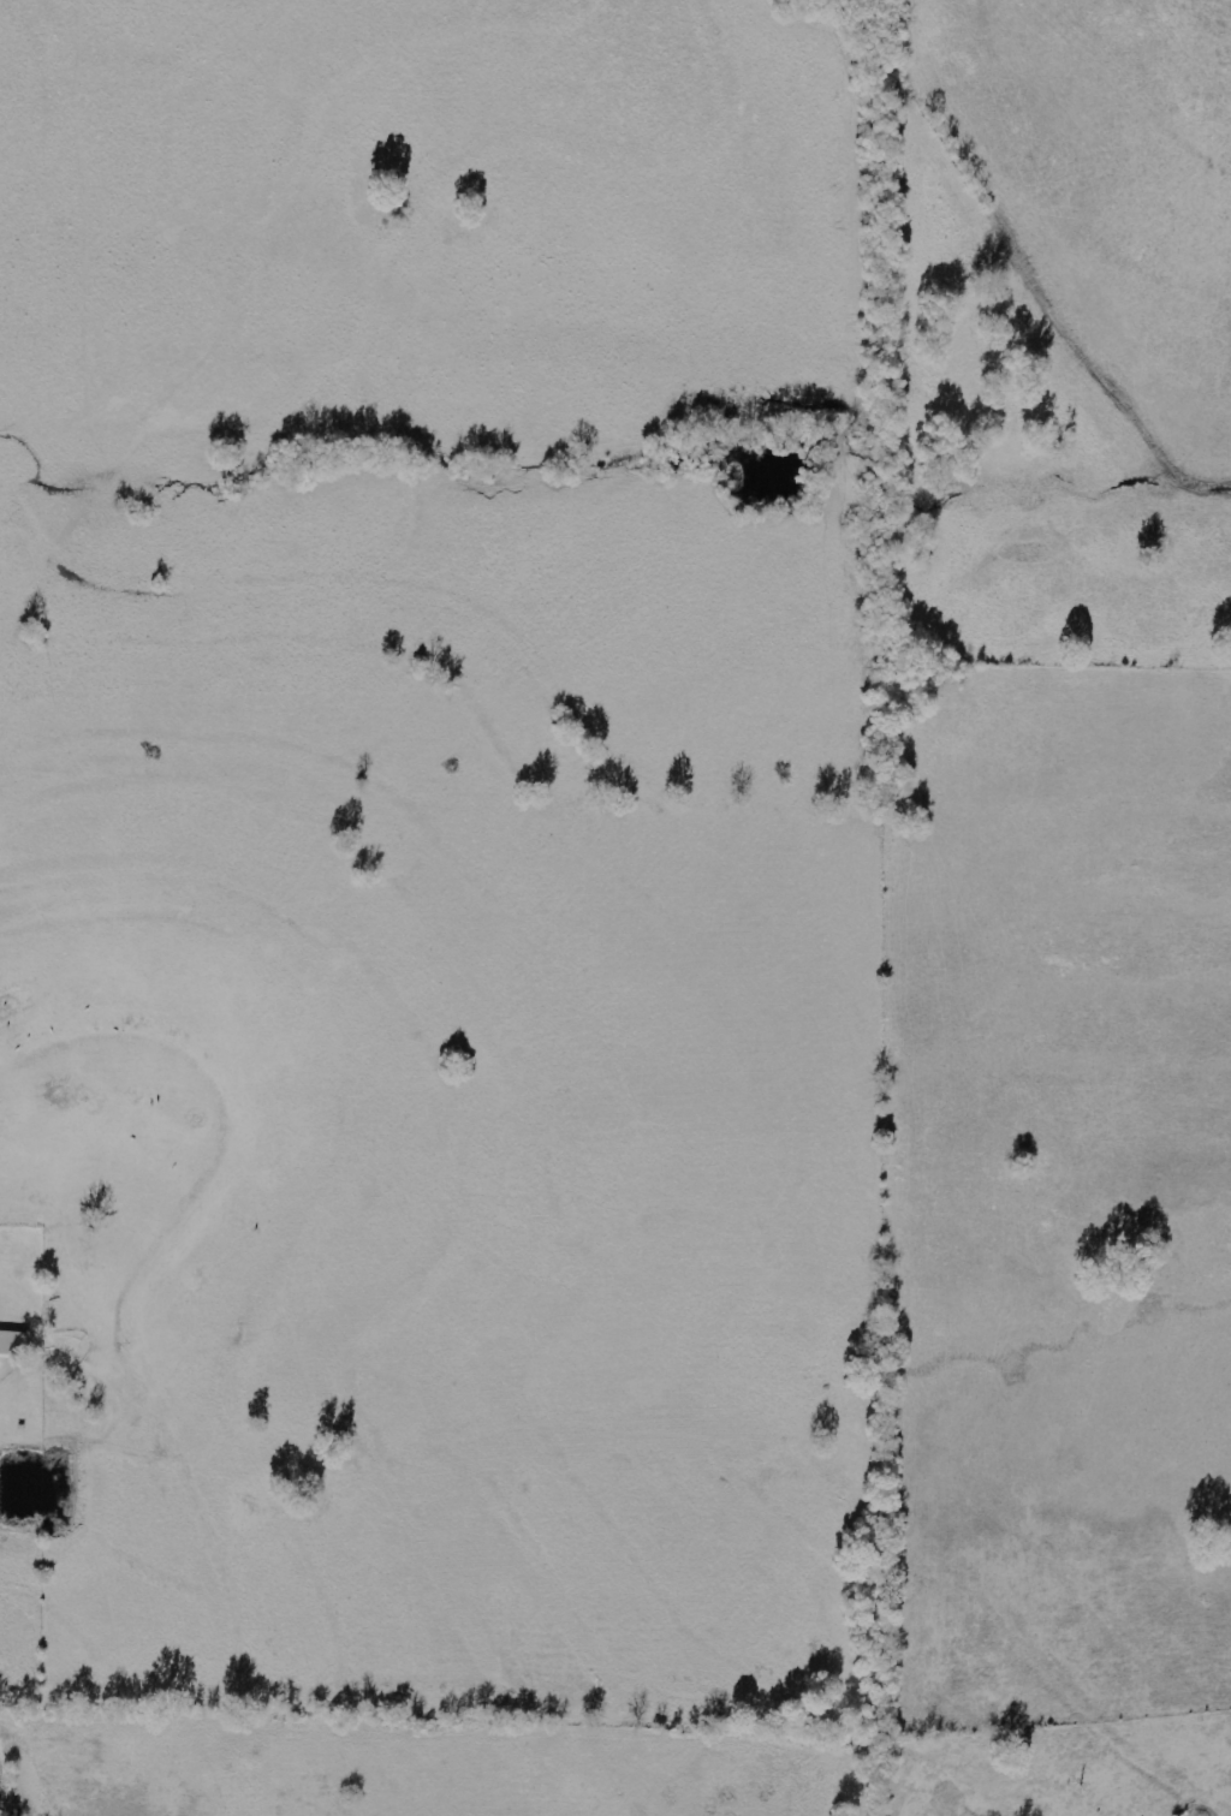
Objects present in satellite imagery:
building: (13, 1344)

